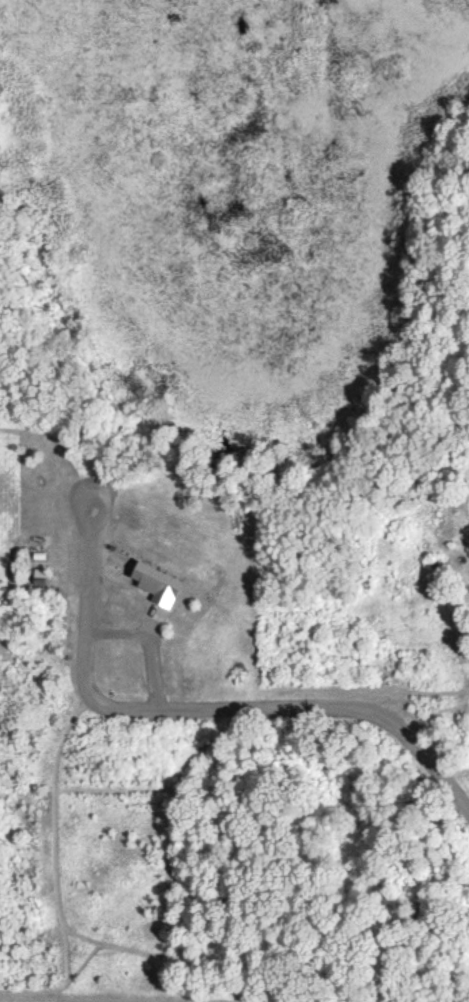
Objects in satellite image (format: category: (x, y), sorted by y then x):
building: (154, 583)
road: (150, 641)
road: (221, 706)

